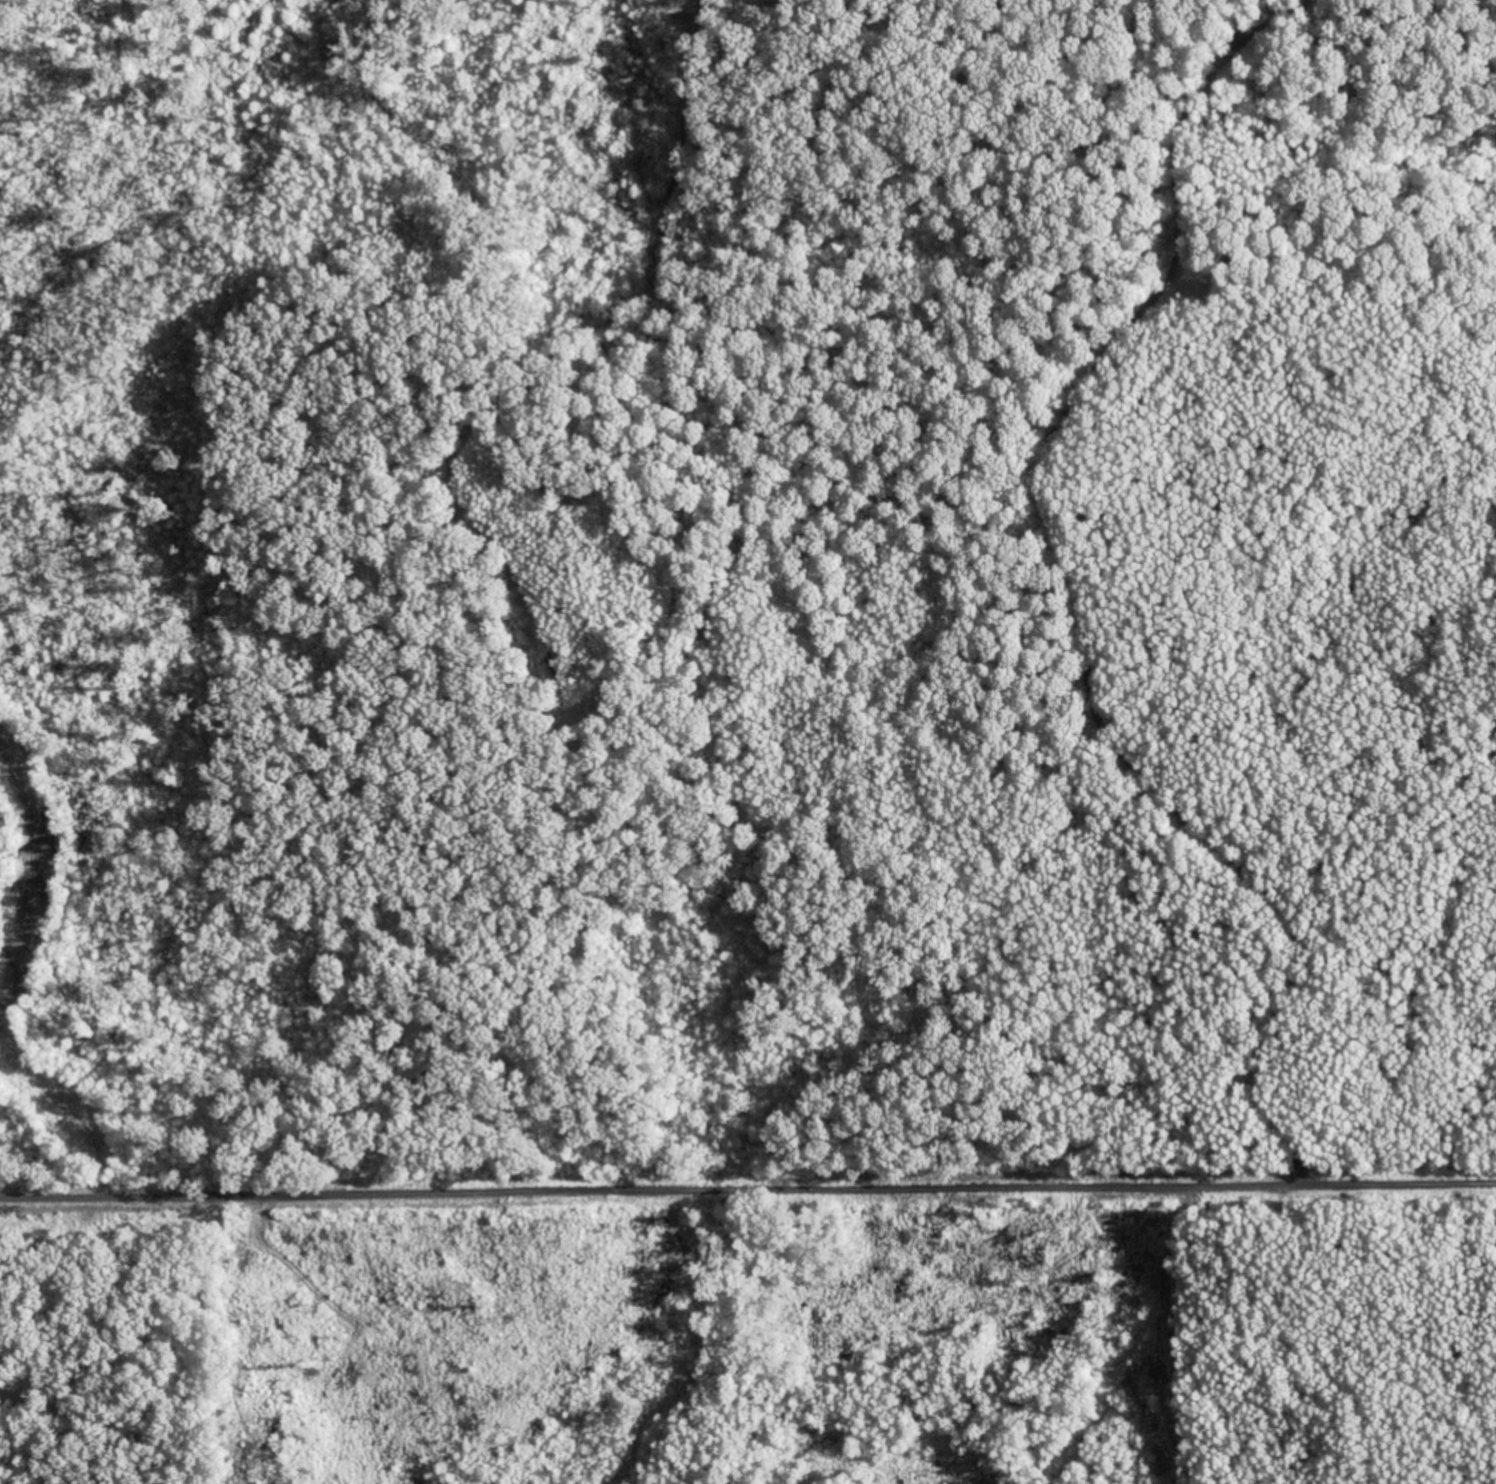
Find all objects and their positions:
road: (790, 1194)
road: (42, 1203)

